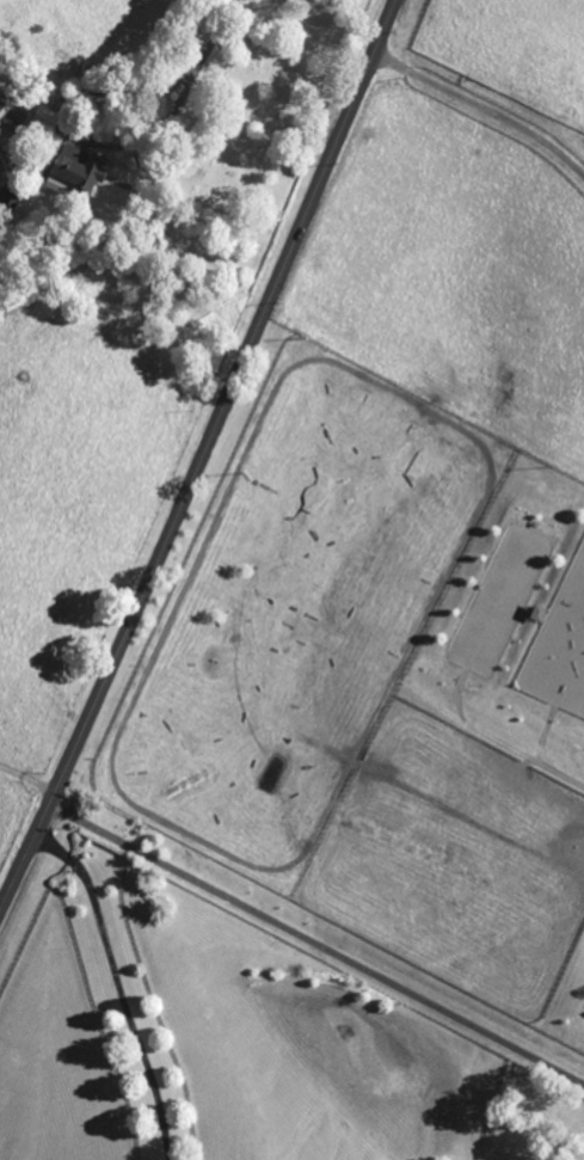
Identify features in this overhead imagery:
road: (192, 61)
road: (484, 112)
building: (82, 171)
road: (203, 456)
road: (27, 775)
road: (316, 941)
road: (122, 984)

